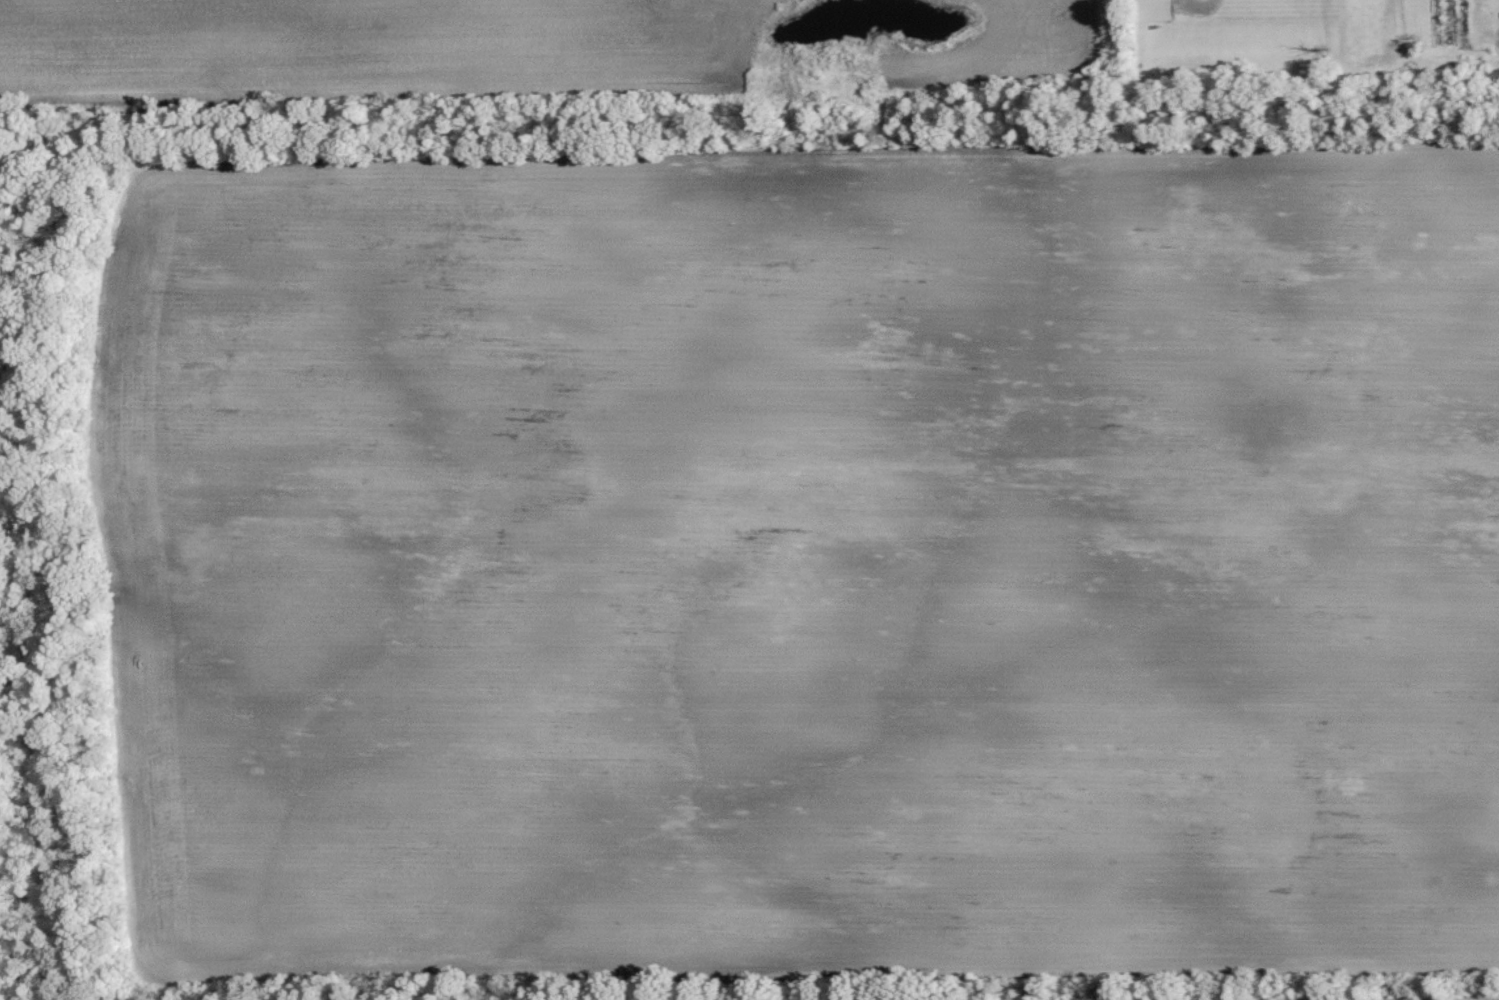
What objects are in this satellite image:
building: (1162, 11)

